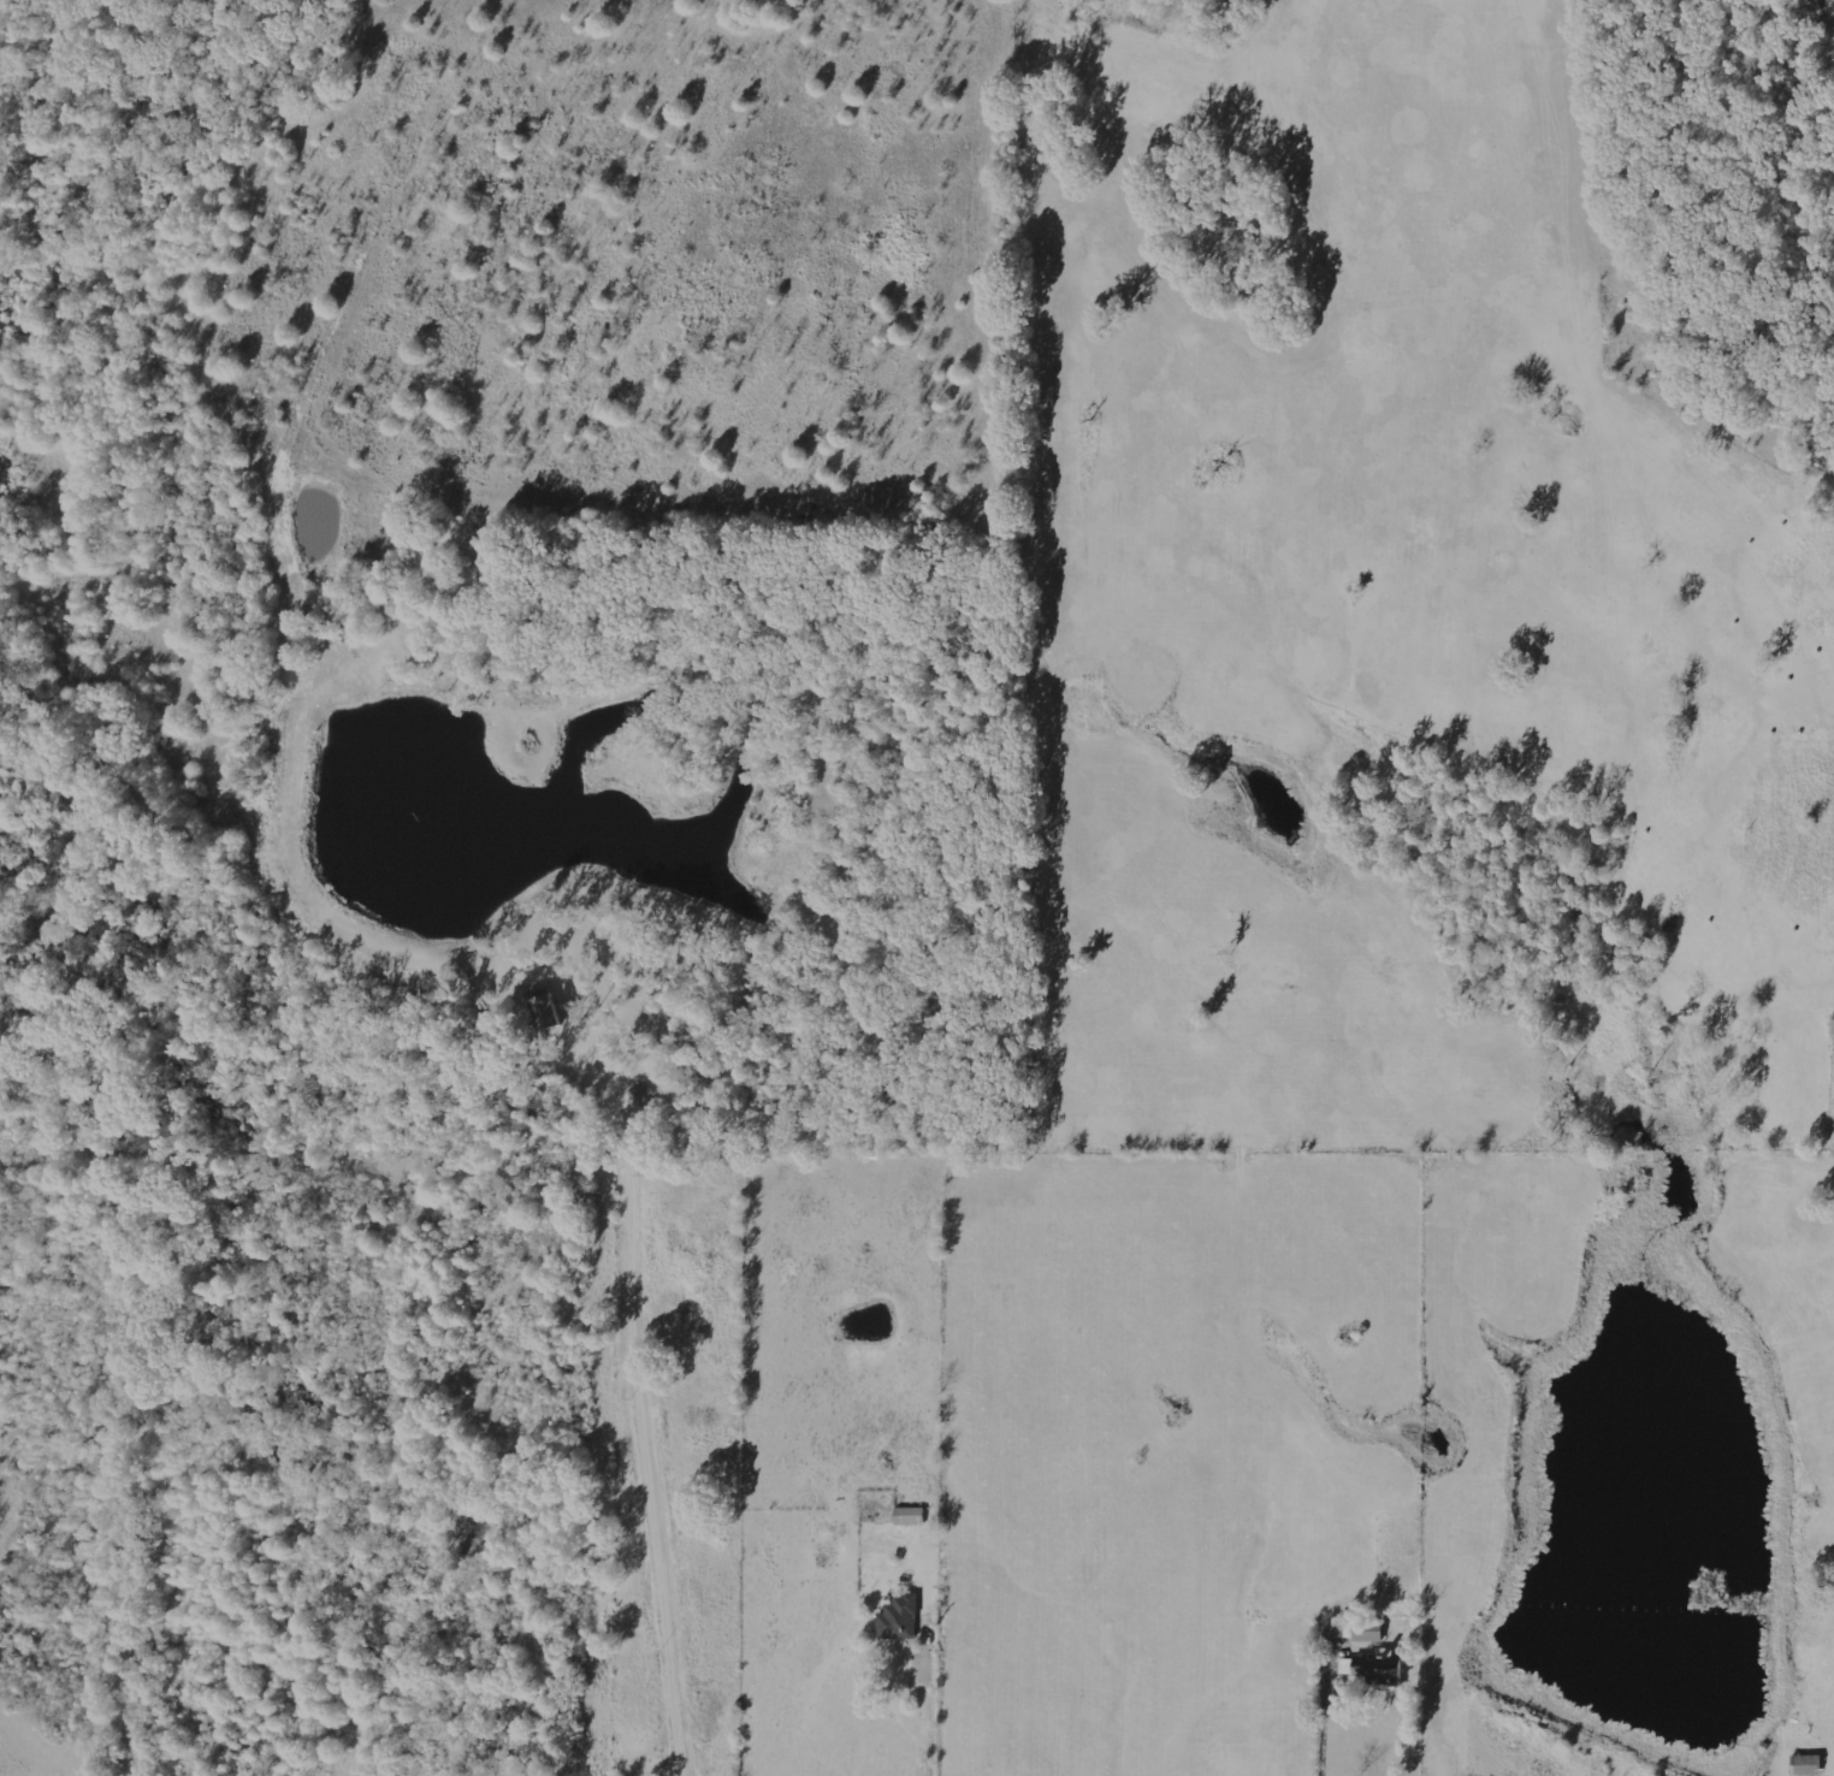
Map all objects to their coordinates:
building: (550, 1007)
building: (1833, 1025)
building: (912, 1515)
building: (901, 1617)
building: (1359, 1630)
building: (1382, 1671)
road: (934, 1725)
building: (1805, 1764)

